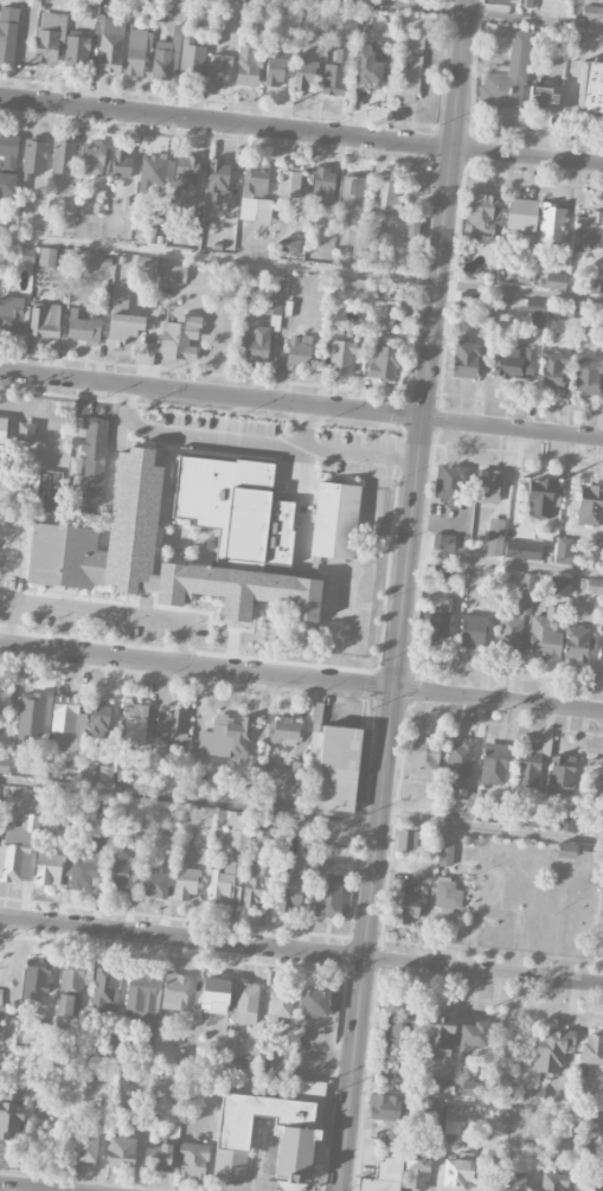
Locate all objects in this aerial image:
building: (118, 0)
building: (498, 1)
road: (476, 13)
building: (592, 13)
building: (8, 33)
building: (49, 37)
building: (412, 39)
building: (76, 52)
building: (135, 52)
building: (109, 53)
building: (165, 56)
building: (191, 60)
building: (248, 66)
building: (368, 68)
building: (219, 69)
building: (274, 72)
building: (335, 75)
building: (306, 76)
building: (507, 77)
building: (408, 79)
building: (543, 98)
road: (301, 132)
building: (8, 151)
building: (63, 158)
building: (33, 159)
building: (94, 159)
building: (121, 162)
building: (152, 173)
building: (186, 178)
building: (219, 181)
building: (7, 184)
building: (289, 184)
building: (322, 186)
building: (354, 193)
building: (386, 194)
building: (255, 196)
road: (445, 209)
building: (521, 214)
building: (482, 216)
building: (551, 223)
building: (191, 229)
building: (588, 231)
building: (290, 245)
building: (27, 254)
building: (47, 257)
building: (146, 264)
road: (301, 268)
building: (173, 274)
building: (554, 281)
building: (272, 306)
building: (403, 307)
building: (11, 315)
building: (535, 318)
building: (122, 320)
building: (44, 322)
building: (82, 327)
building: (180, 338)
building: (256, 345)
building: (299, 351)
building: (340, 358)
building: (383, 359)
building: (464, 360)
building: (515, 364)
building: (553, 370)
building: (586, 376)
road: (211, 393)
road: (308, 427)
building: (2, 429)
road: (512, 429)
road: (255, 442)
building: (91, 460)
building: (0, 463)
building: (449, 482)
building: (487, 486)
building: (49, 492)
building: (539, 498)
building: (583, 504)
building: (235, 508)
building: (334, 520)
road: (1, 524)
building: (495, 537)
building: (443, 542)
building: (521, 550)
building: (564, 551)
building: (152, 556)
road: (506, 562)
building: (441, 570)
building: (594, 585)
building: (559, 587)
road: (98, 614)
building: (514, 621)
building: (438, 623)
building: (473, 632)
building: (545, 636)
building: (601, 642)
building: (576, 643)
road: (301, 679)
building: (4, 699)
building: (98, 721)
building: (135, 721)
building: (64, 723)
building: (169, 725)
building: (284, 731)
building: (225, 737)
building: (423, 756)
building: (493, 763)
building: (4, 764)
building: (461, 766)
building: (527, 767)
building: (336, 769)
building: (562, 774)
building: (104, 775)
building: (122, 775)
building: (594, 781)
road: (380, 803)
road: (301, 813)
building: (566, 821)
building: (46, 825)
building: (591, 826)
building: (237, 833)
building: (406, 841)
building: (565, 851)
building: (312, 852)
building: (445, 854)
building: (86, 862)
building: (49, 870)
building: (117, 872)
building: (153, 881)
building: (185, 884)
building: (225, 884)
building: (290, 888)
building: (252, 889)
building: (447, 894)
building: (328, 899)
building: (406, 909)
building: (601, 911)
road: (301, 952)
building: (36, 978)
building: (104, 991)
building: (174, 992)
building: (214, 995)
building: (0, 997)
building: (281, 1003)
building: (314, 1003)
building: (246, 1004)
building: (69, 1005)
building: (140, 1007)
building: (398, 1032)
building: (45, 1033)
building: (438, 1035)
building: (473, 1035)
building: (232, 1042)
building: (592, 1049)
building: (550, 1051)
parking lot: (313, 1055)
building: (386, 1070)
building: (385, 1082)
building: (438, 1086)
building: (473, 1089)
building: (535, 1094)
building: (597, 1101)
building: (386, 1108)
building: (426, 1108)
building: (136, 1113)
building: (456, 1113)
building: (11, 1115)
building: (297, 1127)
building: (601, 1127)
building: (85, 1147)
building: (121, 1152)
road: (258, 1153)
road: (252, 1155)
building: (158, 1158)
building: (193, 1161)
building: (415, 1171)
building: (383, 1176)
building: (457, 1176)
building: (553, 1182)
building: (514, 1184)
building: (586, 1184)
road: (7, 1190)

